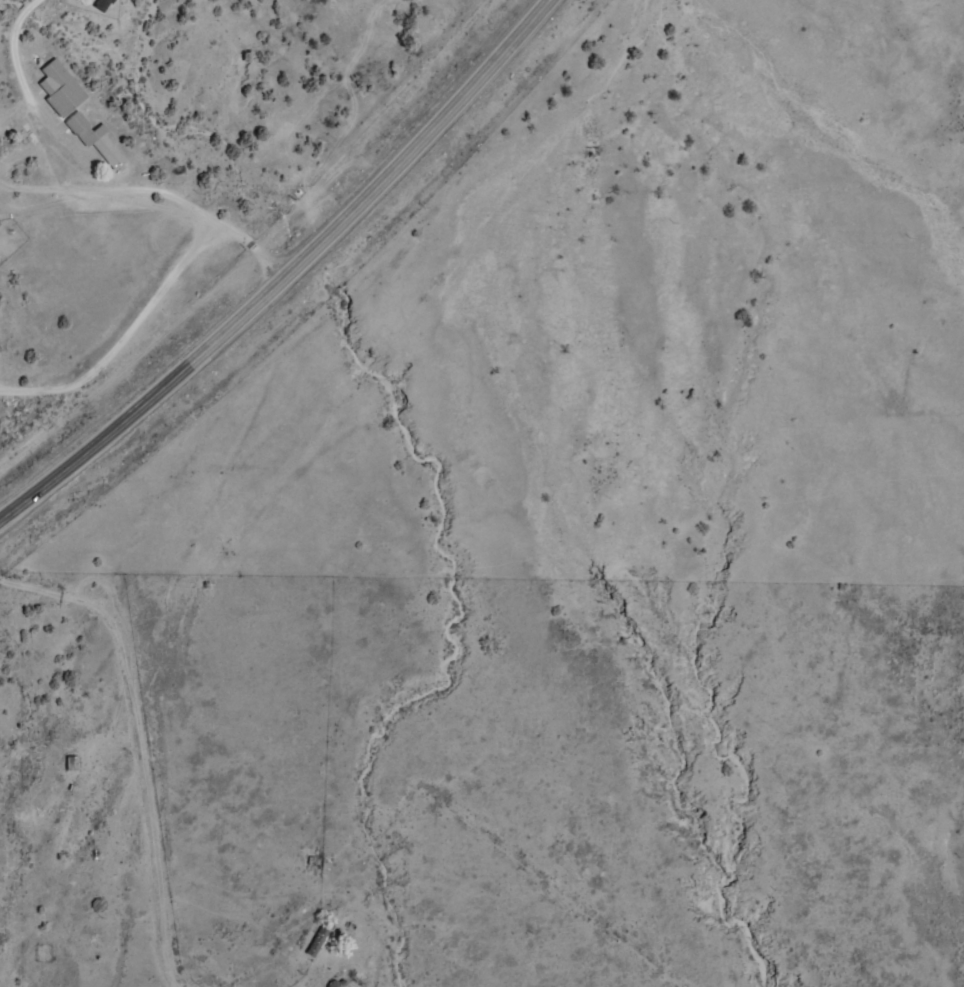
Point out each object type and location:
building: (100, 5)
building: (59, 89)
building: (95, 141)
road: (265, 243)
road: (221, 256)
road: (288, 275)
building: (71, 764)
building: (315, 943)

